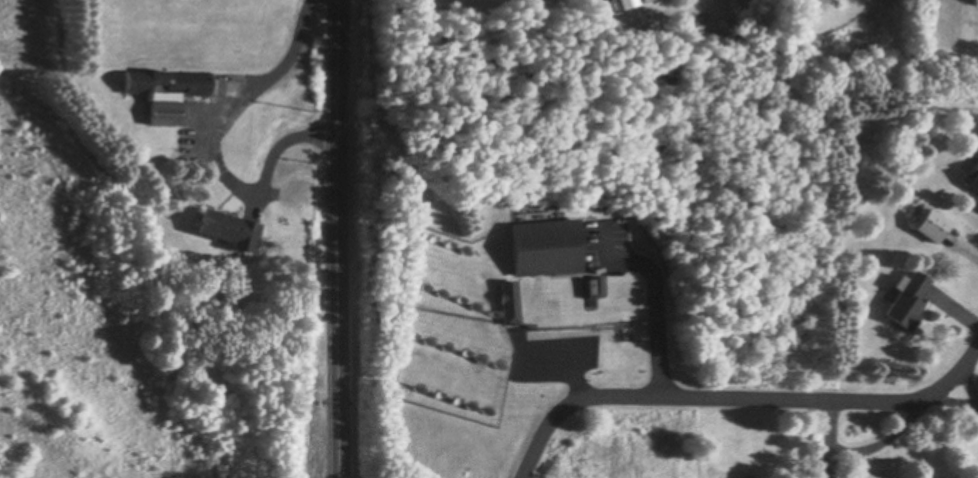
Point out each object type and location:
building: (629, 2)
building: (164, 92)
road: (215, 127)
building: (934, 225)
building: (228, 228)
road: (336, 239)
building: (547, 247)
building: (909, 301)
building: (510, 302)
building: (538, 304)
crop: (133, 315)
road: (736, 396)

